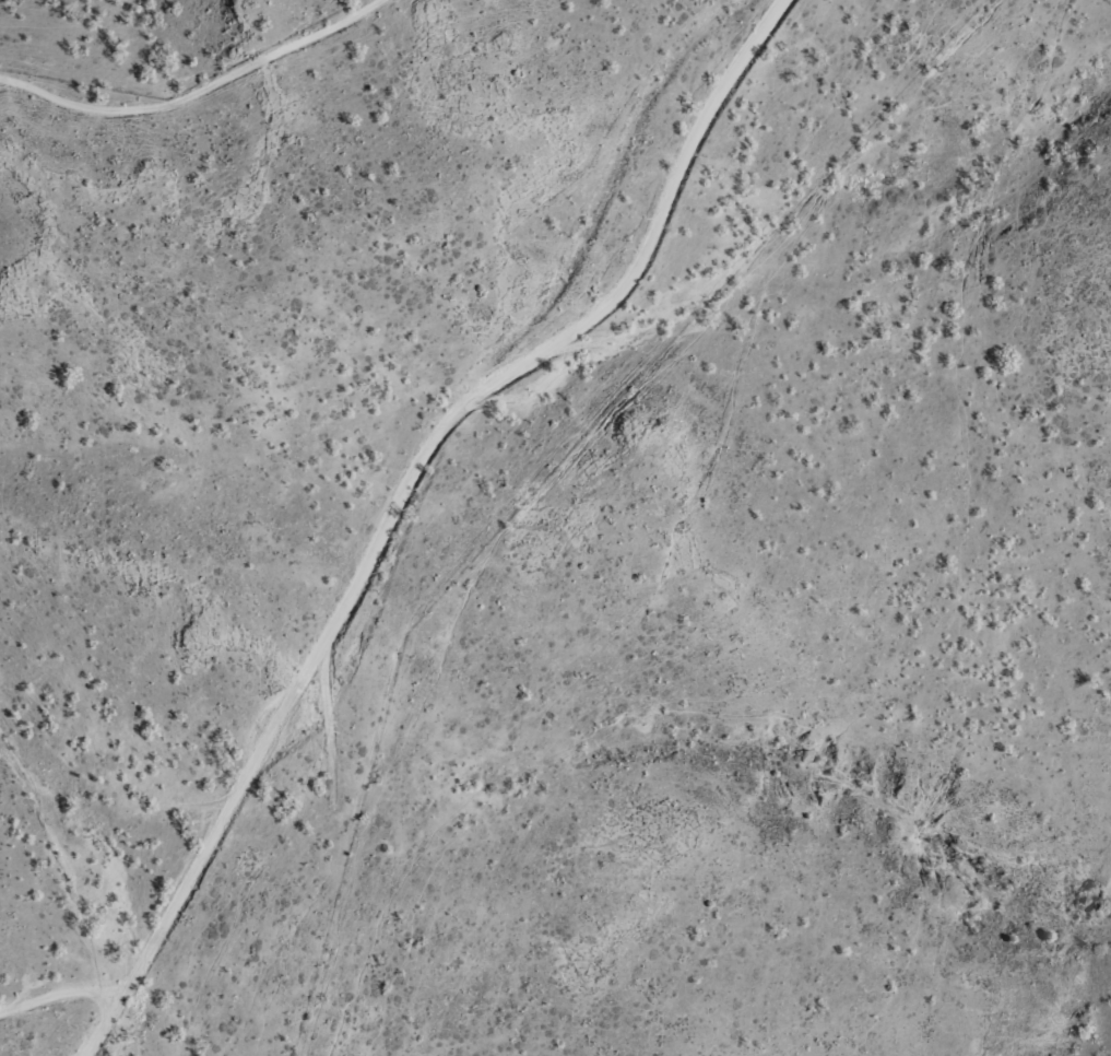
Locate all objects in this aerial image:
road: (203, 97)
road: (400, 495)
road: (51, 1008)

